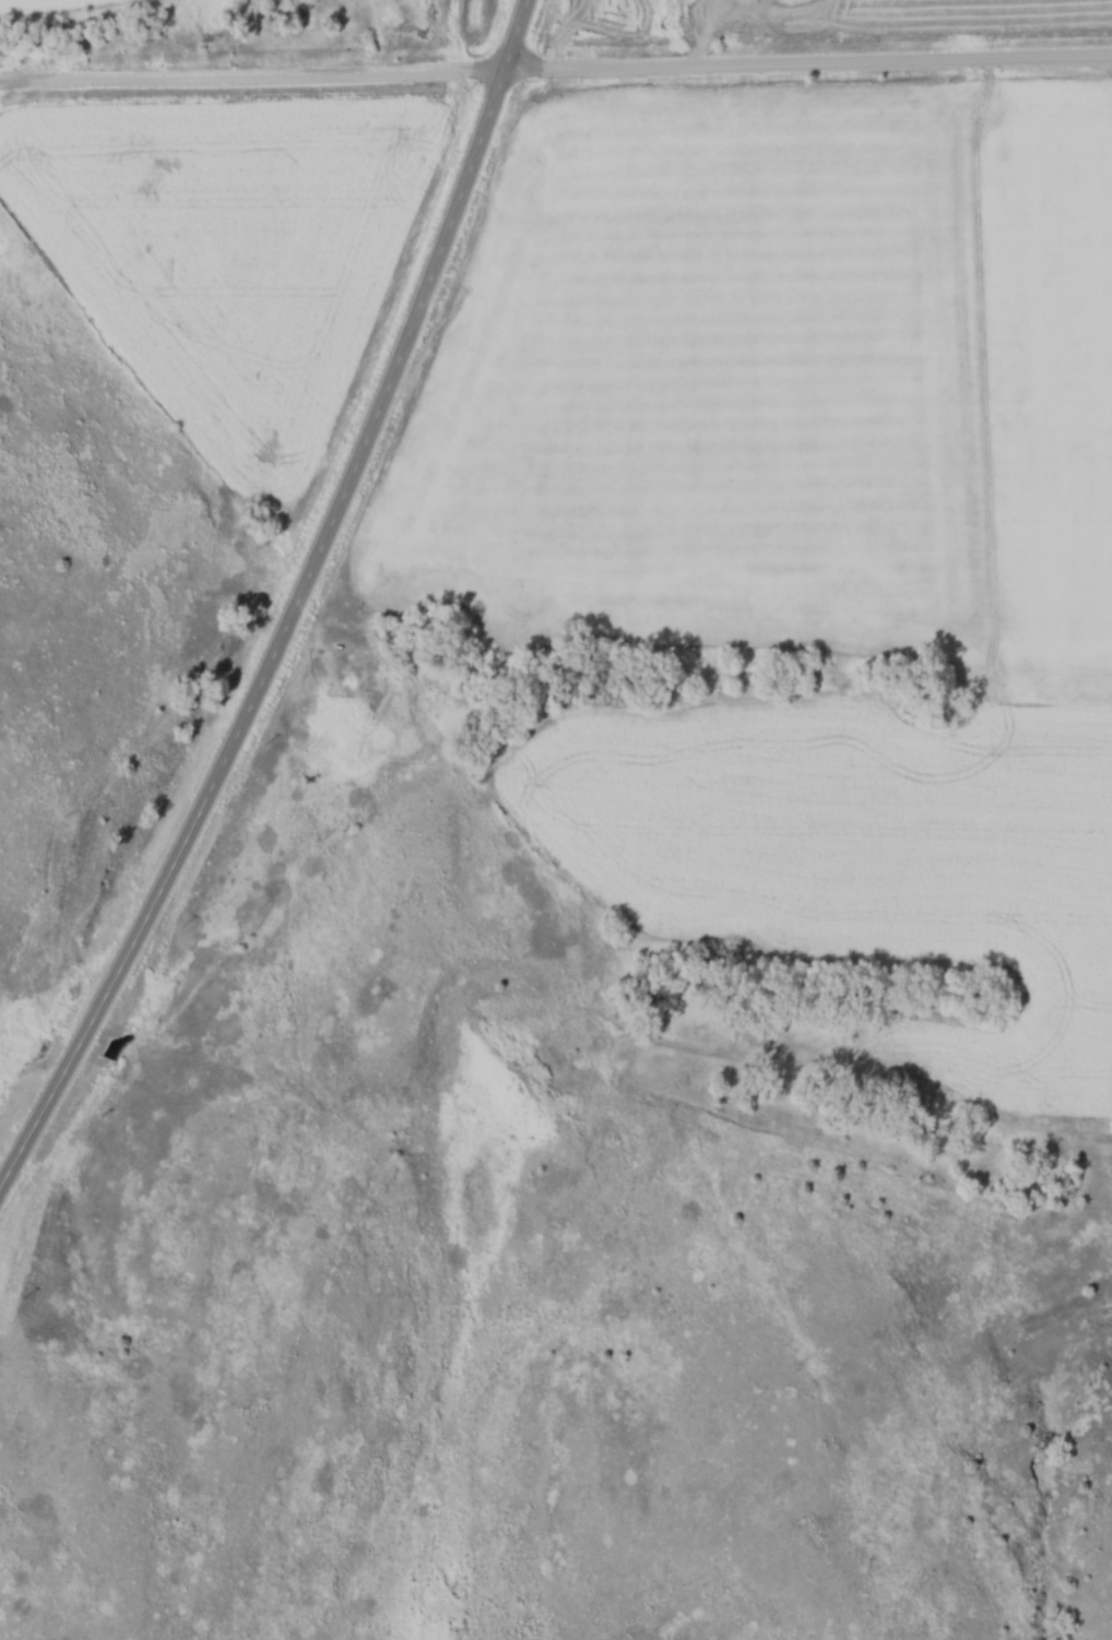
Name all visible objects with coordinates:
road: (698, 34)
road: (806, 66)
road: (250, 79)
road: (294, 608)

